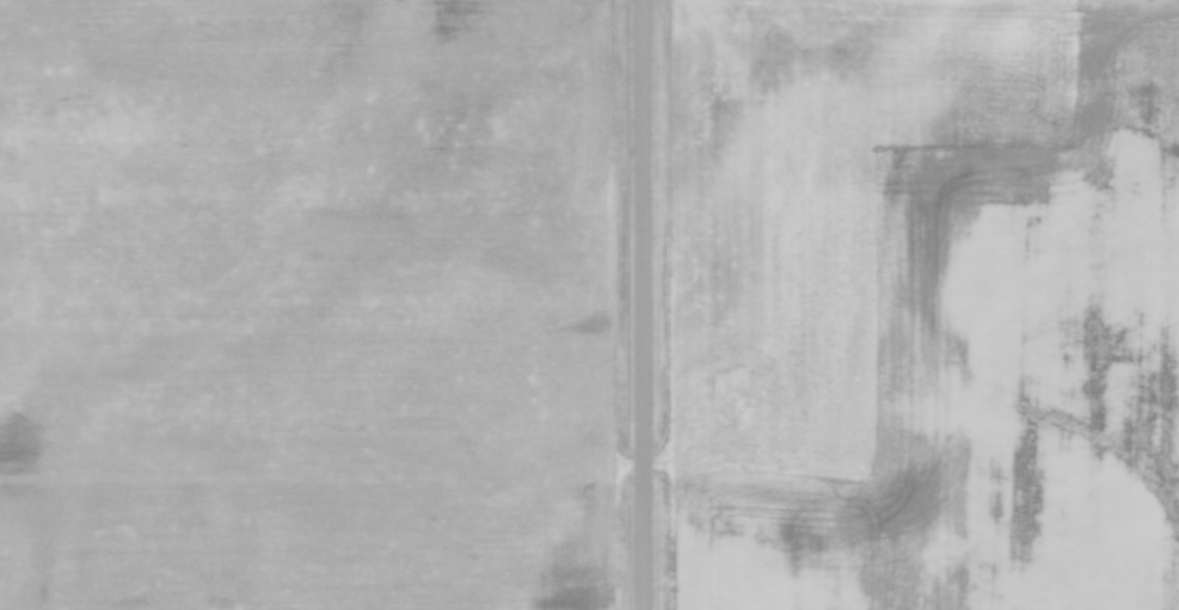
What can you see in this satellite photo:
road: (646, 304)

